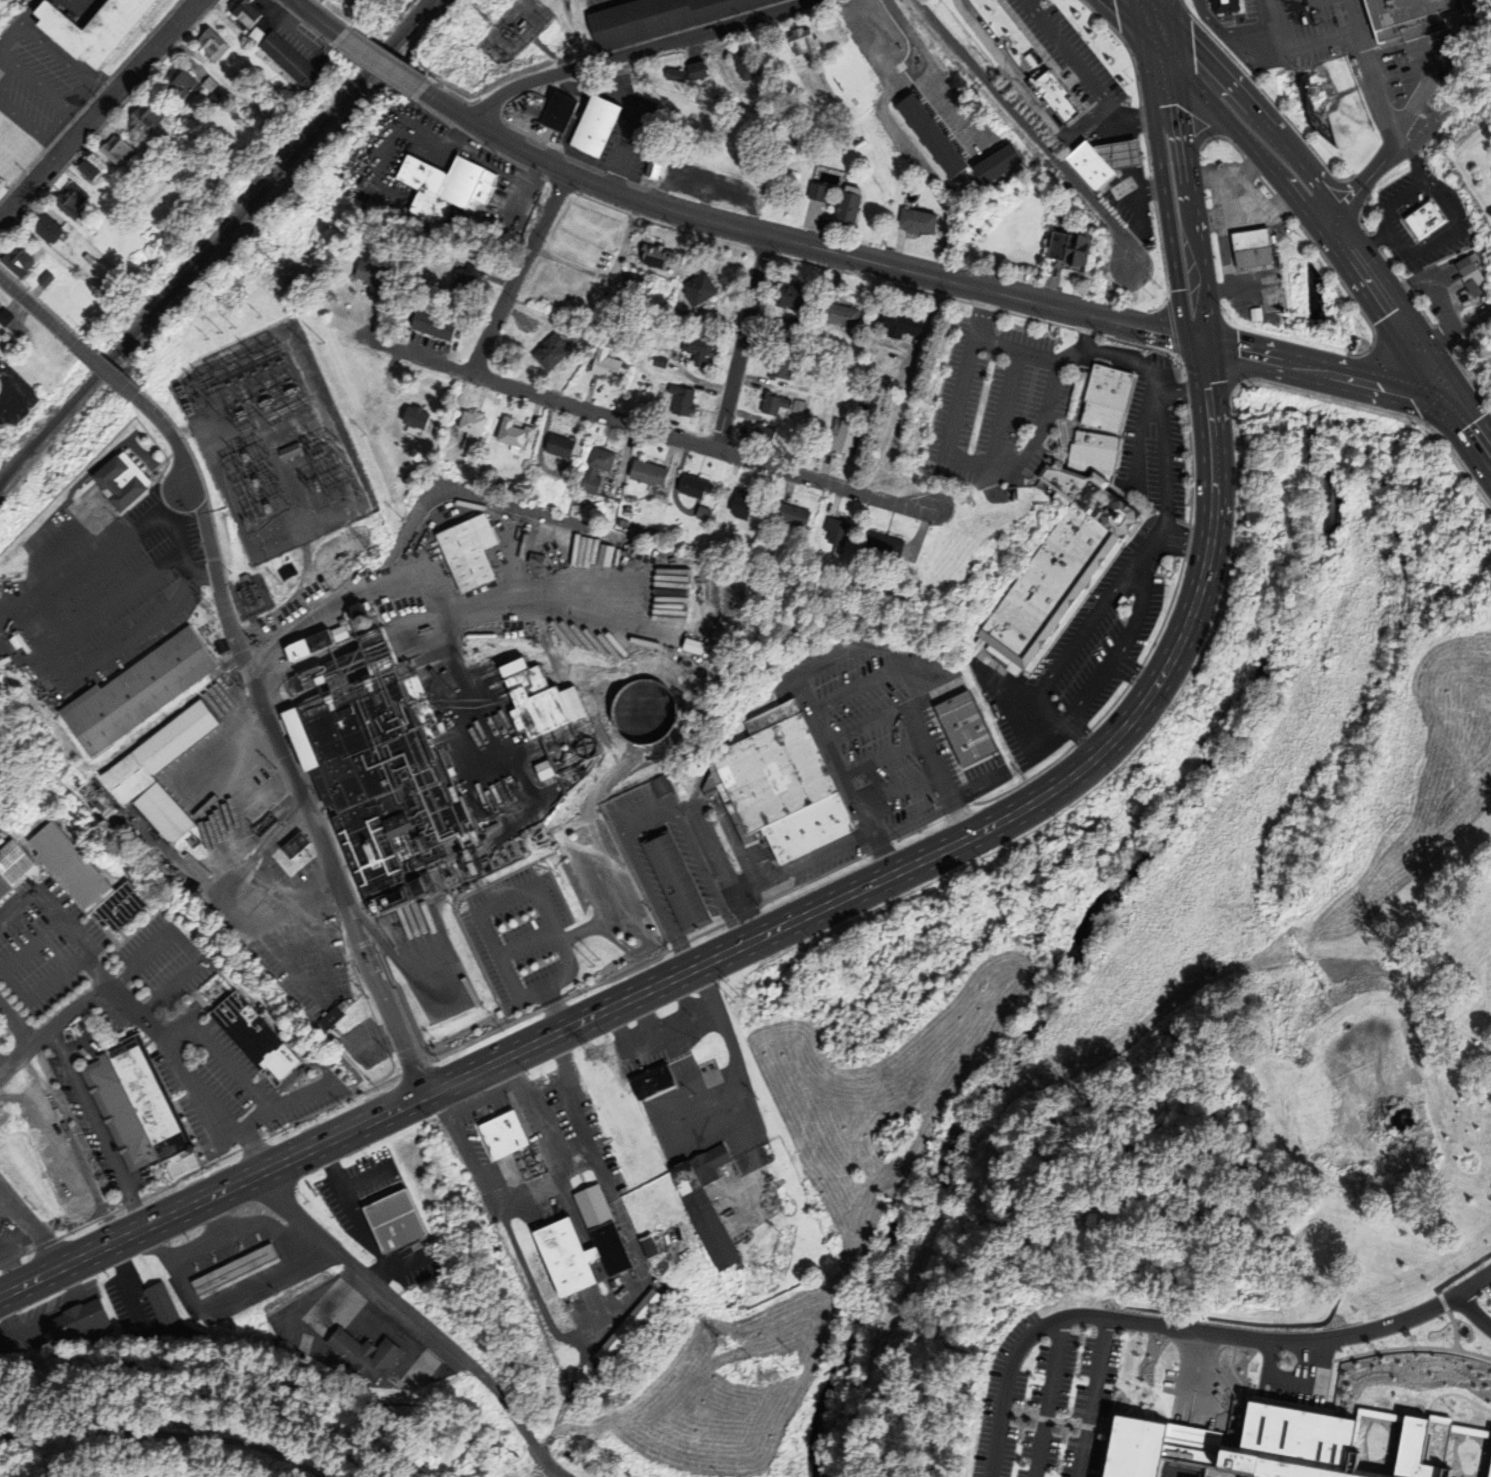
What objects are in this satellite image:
building: (1226, 6)
road: (1295, 7)
building: (248, 11)
road: (30, 12)
road: (1130, 12)
road: (1144, 12)
road: (1151, 12)
power tower: (487, 13)
road: (319, 18)
building: (656, 19)
building: (1409, 19)
traffic signals: (1153, 24)
road: (1274, 25)
building: (96, 28)
power substation: (513, 30)
road: (1226, 33)
building: (258, 34)
river: (1292, 36)
road: (1319, 40)
building: (214, 44)
building: (797, 44)
parking lot: (1320, 46)
road: (634, 50)
road: (551, 53)
building: (292, 59)
road: (381, 62)
road: (67, 63)
building: (741, 63)
road: (935, 68)
building: (684, 71)
road: (1084, 72)
building: (1039, 73)
road: (32, 76)
building: (184, 81)
building: (212, 83)
building: (215, 96)
building: (1056, 97)
river: (1307, 102)
road: (99, 110)
building: (554, 111)
building: (178, 114)
building: (148, 116)
road: (22, 117)
road: (1388, 120)
building: (591, 126)
road: (1024, 127)
road: (1127, 131)
road: (491, 132)
building: (924, 137)
building: (120, 149)
road: (1133, 156)
railway: (305, 157)
road: (1414, 157)
building: (990, 164)
building: (1103, 164)
gas station: (1103, 164)
building: (652, 166)
building: (92, 168)
building: (84, 169)
road: (1192, 181)
road: (1144, 185)
road: (1164, 185)
building: (439, 187)
building: (814, 192)
road: (1440, 197)
building: (74, 200)
river: (1317, 201)
road: (1315, 204)
building: (844, 210)
building: (1421, 219)
building: (913, 221)
building: (49, 227)
road: (1395, 239)
railway: (218, 240)
road: (1370, 243)
building: (1051, 246)
building: (1253, 249)
road: (824, 250)
building: (1070, 252)
building: (652, 255)
building: (18, 260)
building: (67, 265)
building: (1463, 265)
building: (101, 267)
road: (516, 272)
building: (368, 275)
building: (47, 279)
building: (458, 281)
building: (629, 282)
building: (694, 287)
building: (1470, 288)
building: (785, 295)
river: (1318, 299)
building: (0, 304)
road: (34, 314)
road: (981, 314)
building: (1256, 315)
building: (6, 316)
building: (836, 316)
building: (678, 318)
building: (428, 325)
building: (790, 325)
building: (896, 325)
road: (1144, 329)
road: (1084, 331)
road: (738, 343)
traffic signals: (1200, 343)
building: (10, 344)
building: (693, 351)
building: (546, 352)
road: (1104, 353)
road: (1258, 357)
building: (655, 362)
building: (601, 364)
road: (1203, 367)
road: (97, 370)
building: (775, 370)
river: (1319, 371)
building: (1104, 387)
road: (1384, 388)
road: (1181, 392)
road: (11, 394)
building: (678, 400)
building: (768, 404)
traffic signals: (1453, 405)
road: (1004, 406)
building: (795, 407)
building: (1098, 417)
building: (411, 418)
road: (640, 427)
building: (468, 429)
road: (1472, 430)
building: (509, 434)
road: (165, 435)
building: (758, 435)
road: (1135, 436)
building: (836, 437)
power substation: (269, 442)
road: (949, 443)
building: (556, 447)
building: (289, 450)
building: (1091, 453)
road: (1211, 453)
building: (591, 470)
railway: (10, 471)
building: (644, 473)
road: (1161, 476)
building: (121, 480)
building: (689, 487)
building: (736, 505)
building: (787, 514)
building: (831, 529)
road: (1182, 538)
building: (879, 544)
road: (181, 550)
building: (464, 552)
power tower: (371, 558)
road: (94, 562)
building: (1057, 569)
power substation: (252, 598)
road: (1080, 635)
road: (1118, 650)
road: (829, 659)
building: (648, 667)
road: (1132, 673)
road: (1155, 684)
road: (856, 687)
building: (131, 690)
building: (536, 702)
building: (768, 717)
road: (1055, 719)
road: (871, 720)
road: (916, 728)
building: (960, 728)
building: (607, 732)
building: (581, 747)
building: (156, 751)
building: (556, 753)
road: (881, 757)
building: (379, 770)
building: (540, 770)
building: (770, 772)
road: (841, 776)
building: (661, 786)
road: (980, 787)
road: (896, 790)
road: (296, 792)
building: (493, 800)
power tower: (478, 808)
building: (159, 814)
crop: (1428, 814)
road: (647, 818)
road: (912, 822)
building: (804, 826)
road: (598, 839)
building: (11, 862)
road: (801, 864)
building: (66, 867)
road: (724, 870)
road: (886, 877)
building: (675, 881)
building: (2, 885)
road: (529, 887)
building: (118, 905)
parking lot: (556, 916)
road: (580, 932)
river: (1080, 942)
road: (525, 943)
road: (184, 945)
road: (28, 946)
road: (712, 959)
road: (39, 991)
road: (546, 994)
road: (120, 995)
road: (556, 1015)
road: (51, 1025)
road: (16, 1026)
building: (252, 1034)
road: (54, 1045)
road: (75, 1046)
road: (218, 1055)
power tower: (592, 1060)
road: (2, 1069)
road: (295, 1072)
building: (651, 1080)
building: (141, 1098)
road: (284, 1104)
building: (115, 1114)
road: (95, 1125)
road: (339, 1134)
building: (502, 1134)
road: (246, 1141)
road: (365, 1178)
parking lot: (359, 1186)
road: (7, 1200)
building: (705, 1200)
road: (134, 1210)
road: (353, 1212)
building: (396, 1221)
crop: (849, 1224)
road: (32, 1233)
building: (553, 1238)
building: (647, 1246)
road: (404, 1263)
building: (237, 1269)
road: (1458, 1276)
parking lot: (1479, 1282)
building: (164, 1304)
road: (1474, 1312)
road: (416, 1319)
building: (82, 1322)
building: (627, 1325)
road: (1455, 1326)
road: (1189, 1330)
power tower: (717, 1346)
road: (1388, 1351)
building: (367, 1355)
building: (1149, 1357)
building: (1079, 1366)
road: (1244, 1391)
parking lot: (1050, 1395)
road: (1454, 1395)
road: (1048, 1397)
road: (1093, 1397)
road: (1055, 1421)
road: (168, 1435)
building: (1019, 1441)
building: (1167, 1441)
building: (1417, 1451)
road: (543, 1472)
building: (1161, 1476)

